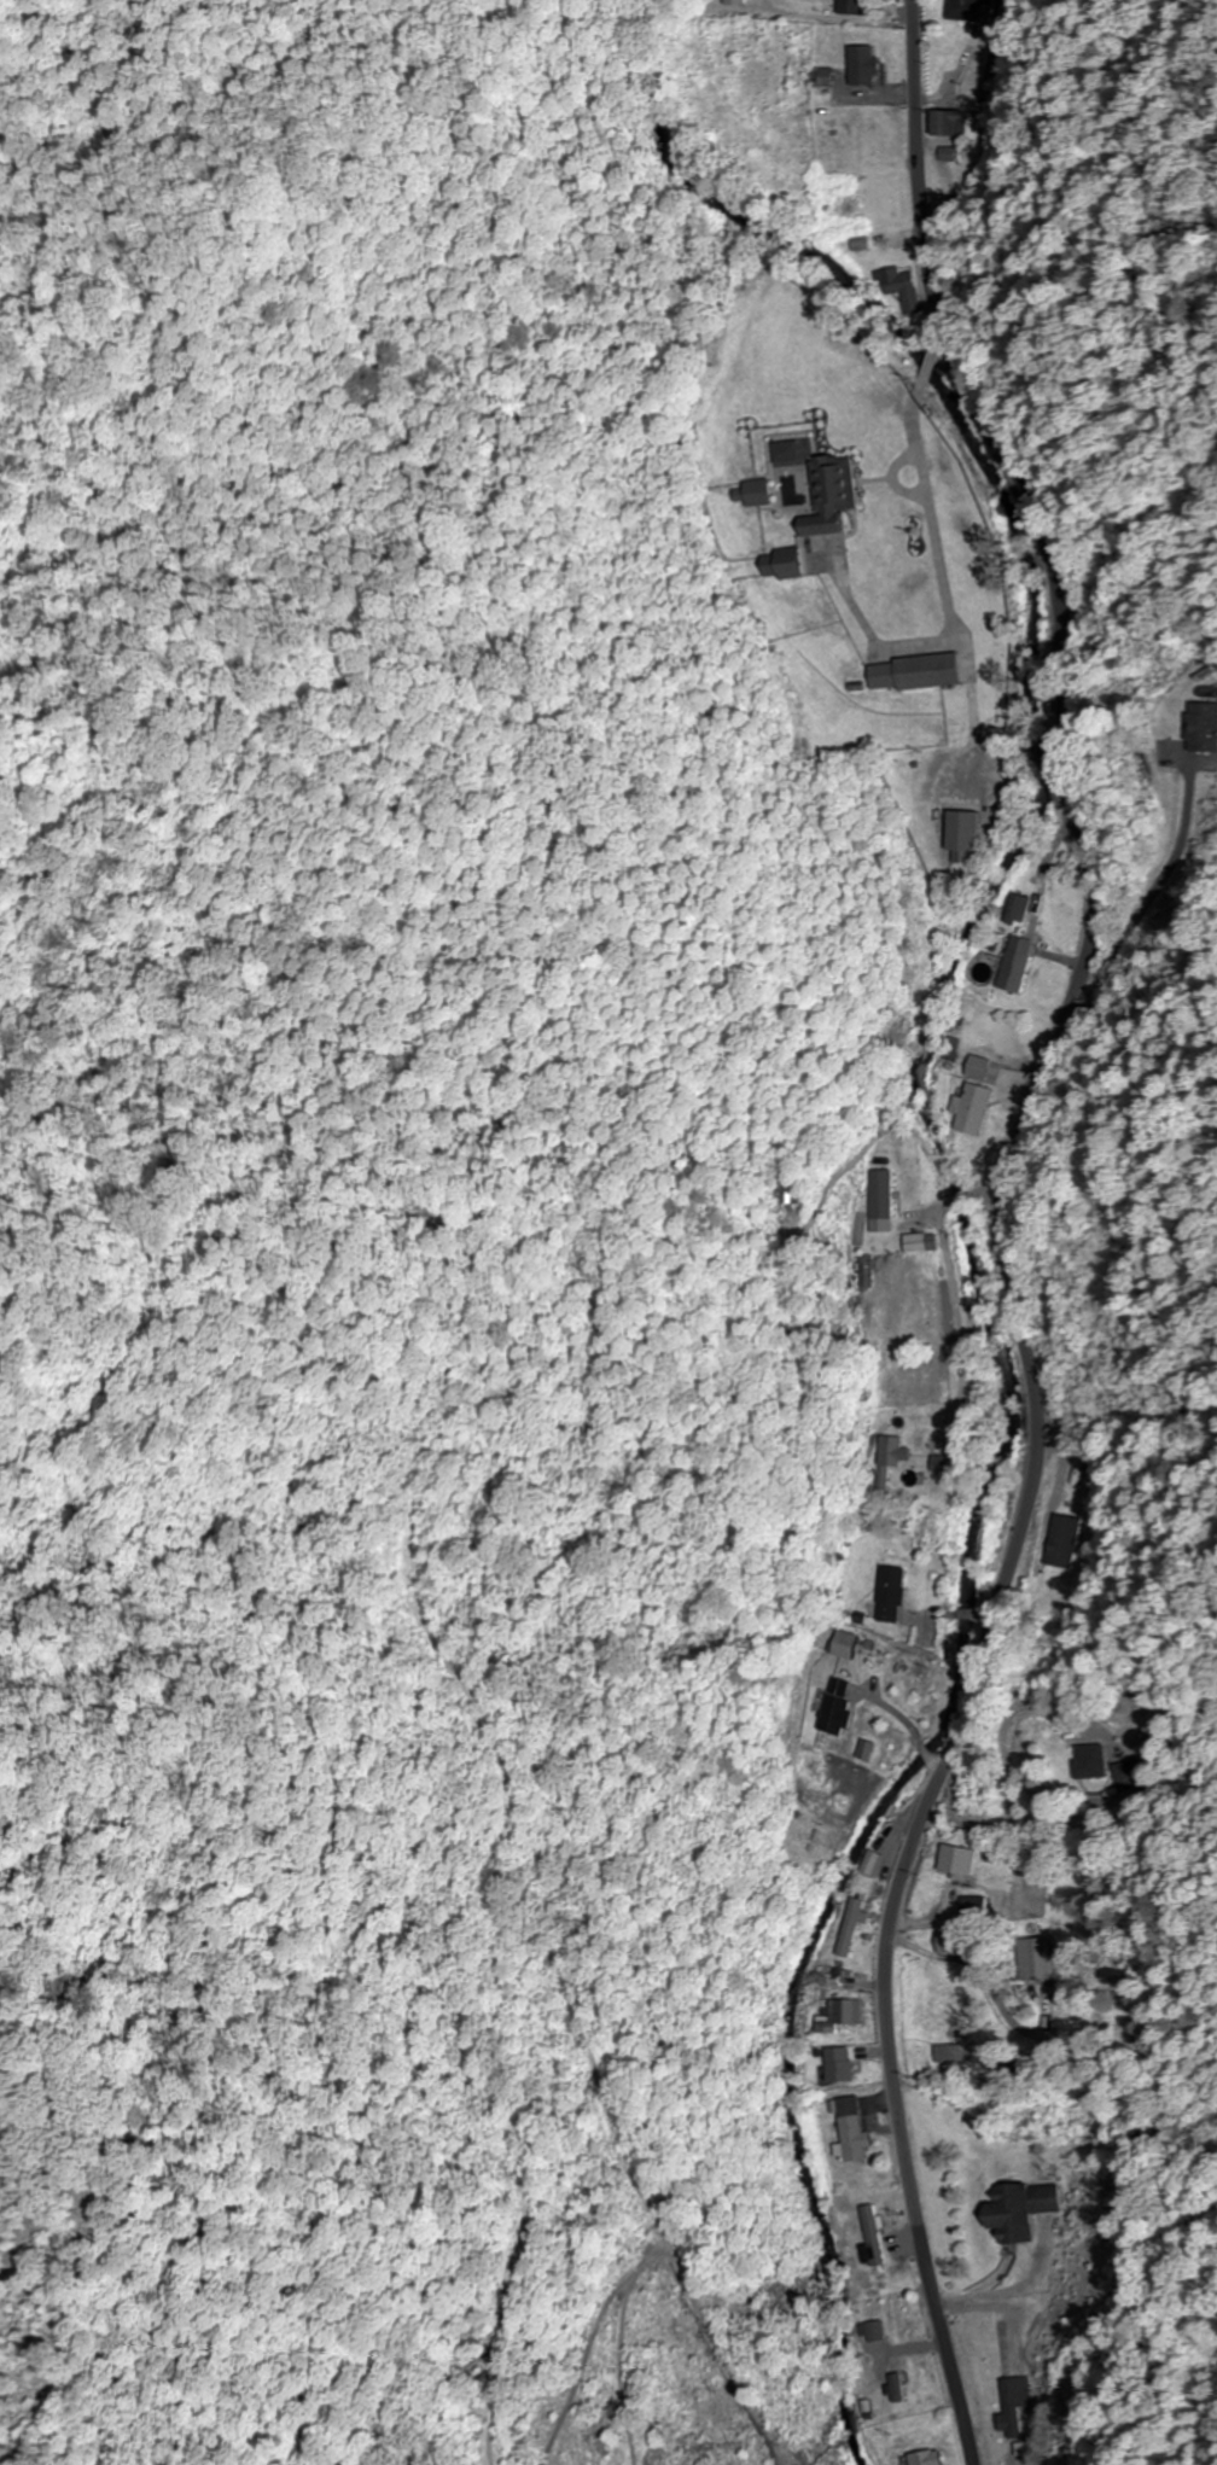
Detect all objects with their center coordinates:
building: (854, 6)
building: (965, 10)
building: (869, 65)
building: (950, 122)
building: (883, 239)
building: (907, 292)
building: (744, 493)
building: (823, 494)
building: (773, 565)
building: (907, 674)
building: (1205, 728)
building: (962, 832)
building: (1015, 911)
building: (1013, 965)
building: (977, 1108)
building: (880, 1194)
road: (1002, 1226)
building: (1068, 1540)
building: (892, 1593)
building: (834, 1714)
building: (1100, 1761)
building: (986, 1787)
building: (802, 1836)
building: (965, 1861)
building: (874, 1863)
building: (854, 1927)
building: (954, 1941)
building: (1042, 1958)
building: (845, 2014)
building: (951, 2052)
building: (843, 2064)
building: (856, 2132)
building: (1026, 2208)
building: (879, 2330)
building: (902, 2387)
building: (1013, 2407)
building: (931, 2458)

